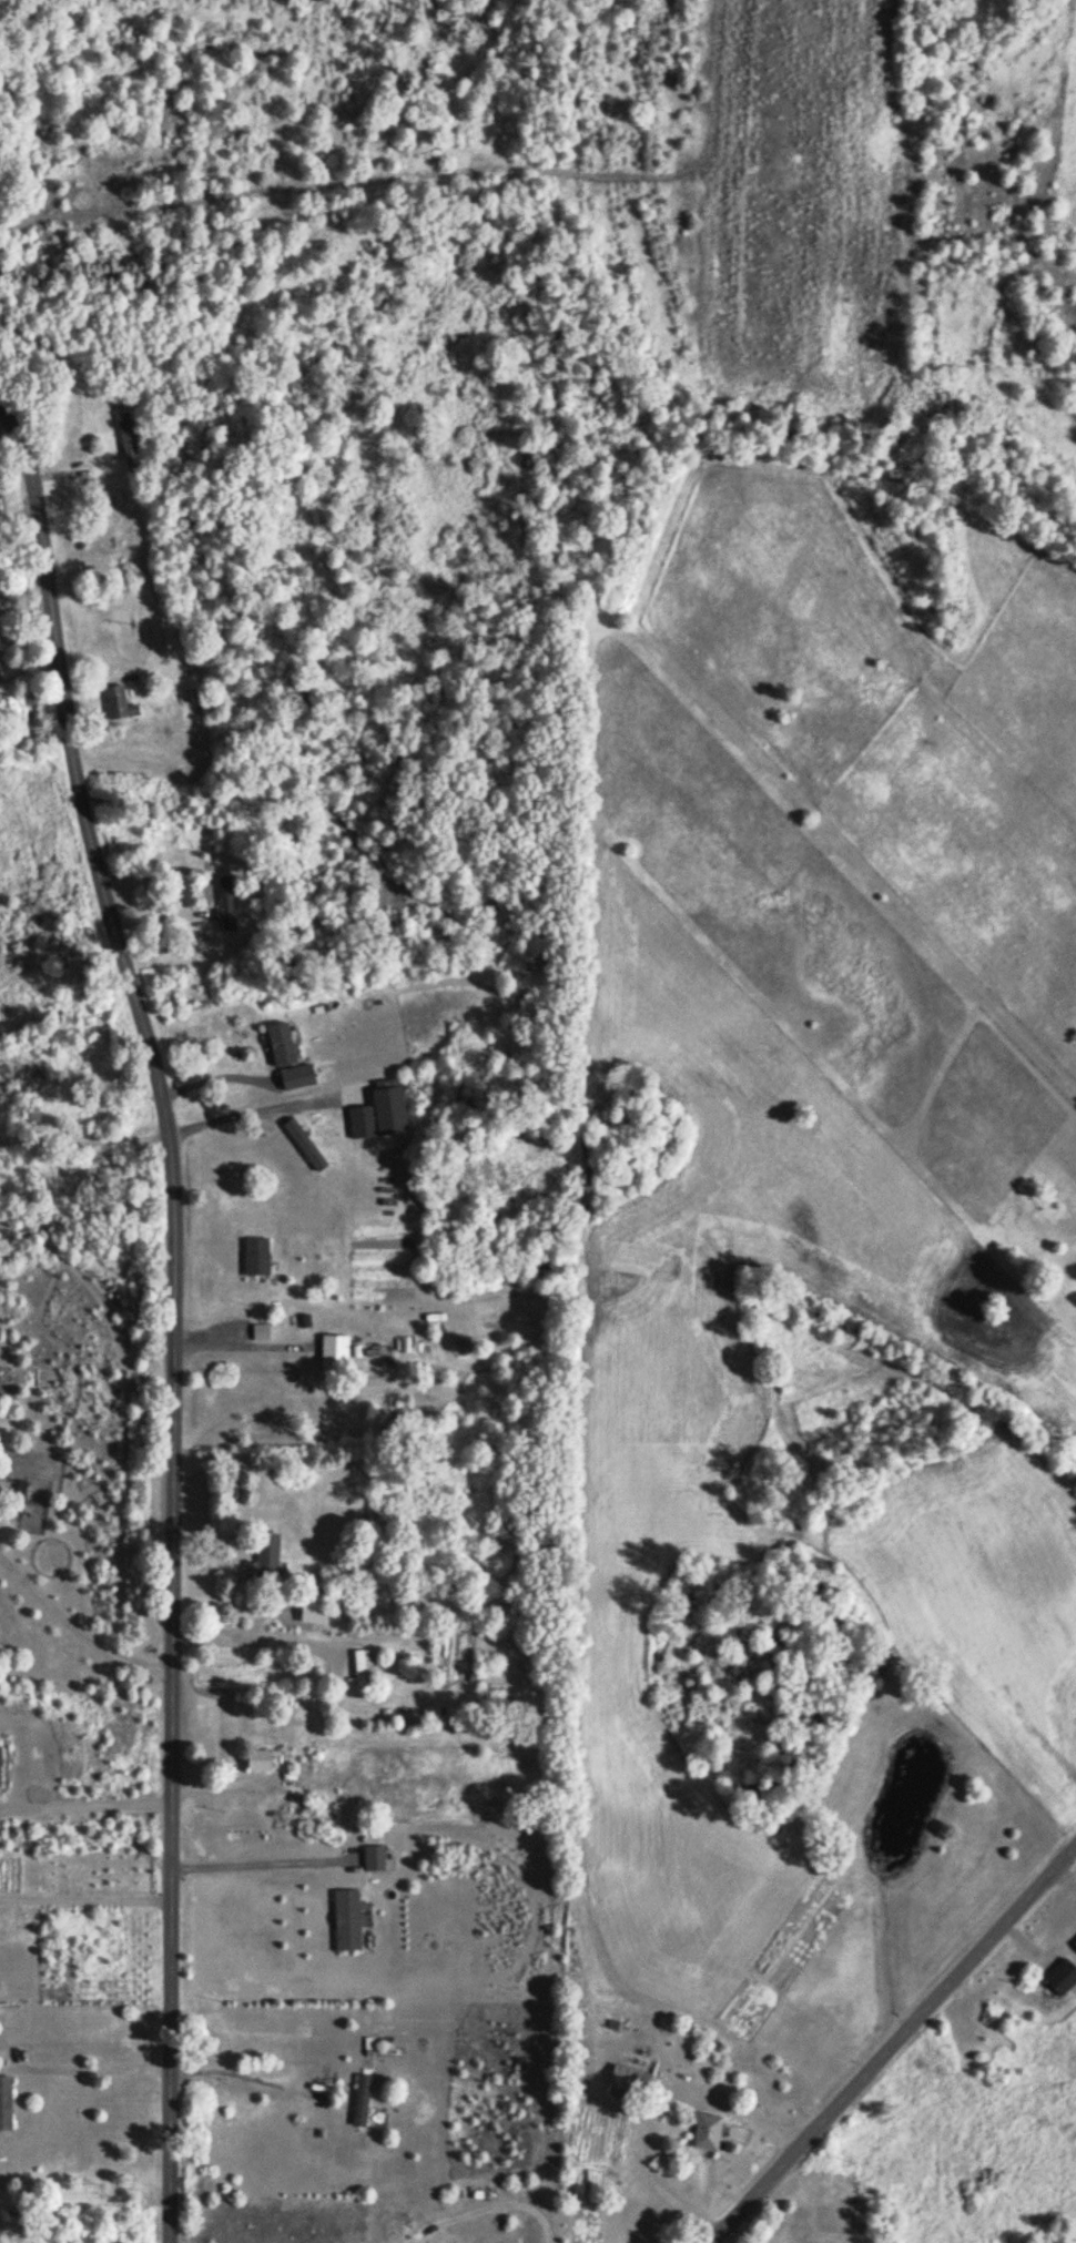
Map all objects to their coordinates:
building: (129, 444)
building: (120, 704)
building: (231, 904)
building: (426, 927)
building: (282, 1046)
road: (217, 1078)
building: (298, 1079)
road: (256, 1117)
building: (364, 1124)
building: (306, 1147)
building: (110, 1155)
building: (257, 1258)
road: (179, 1310)
building: (335, 1351)
building: (18, 1504)
building: (265, 1563)
building: (315, 1611)
road: (255, 1621)
road: (80, 1632)
building: (361, 1673)
building: (260, 1762)
building: (1, 1767)
road: (88, 1788)
road: (257, 1847)
building: (374, 1860)
road: (88, 1884)
building: (347, 1921)
building: (1075, 1946)
building: (1063, 1978)
road: (896, 2047)
road: (97, 2052)
road: (242, 2080)
building: (631, 2081)
building: (362, 2102)
building: (6, 2104)
road: (657, 2111)
building: (708, 2132)
road: (483, 2208)

